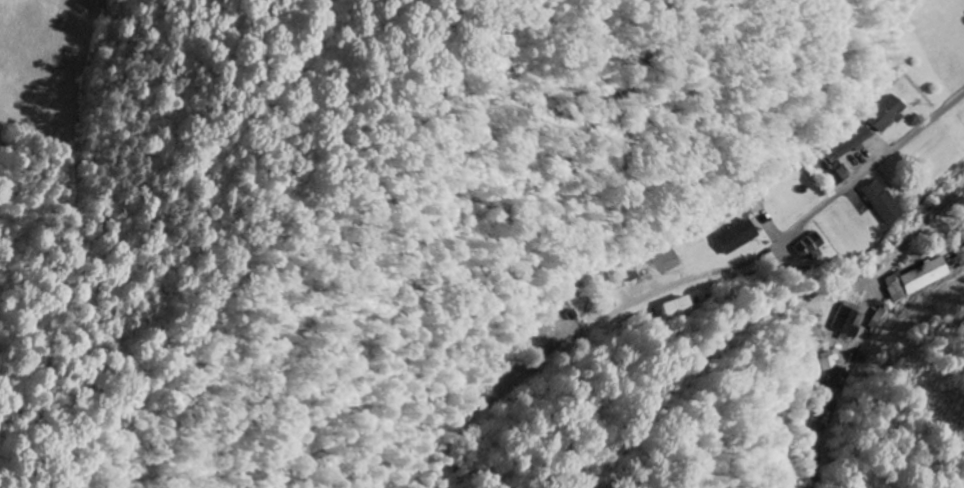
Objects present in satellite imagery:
building: (886, 114)
building: (833, 173)
road: (848, 187)
building: (885, 203)
road: (924, 226)
building: (738, 237)
building: (811, 246)
building: (961, 255)
building: (922, 280)
building: (619, 284)
building: (681, 309)
building: (832, 362)

